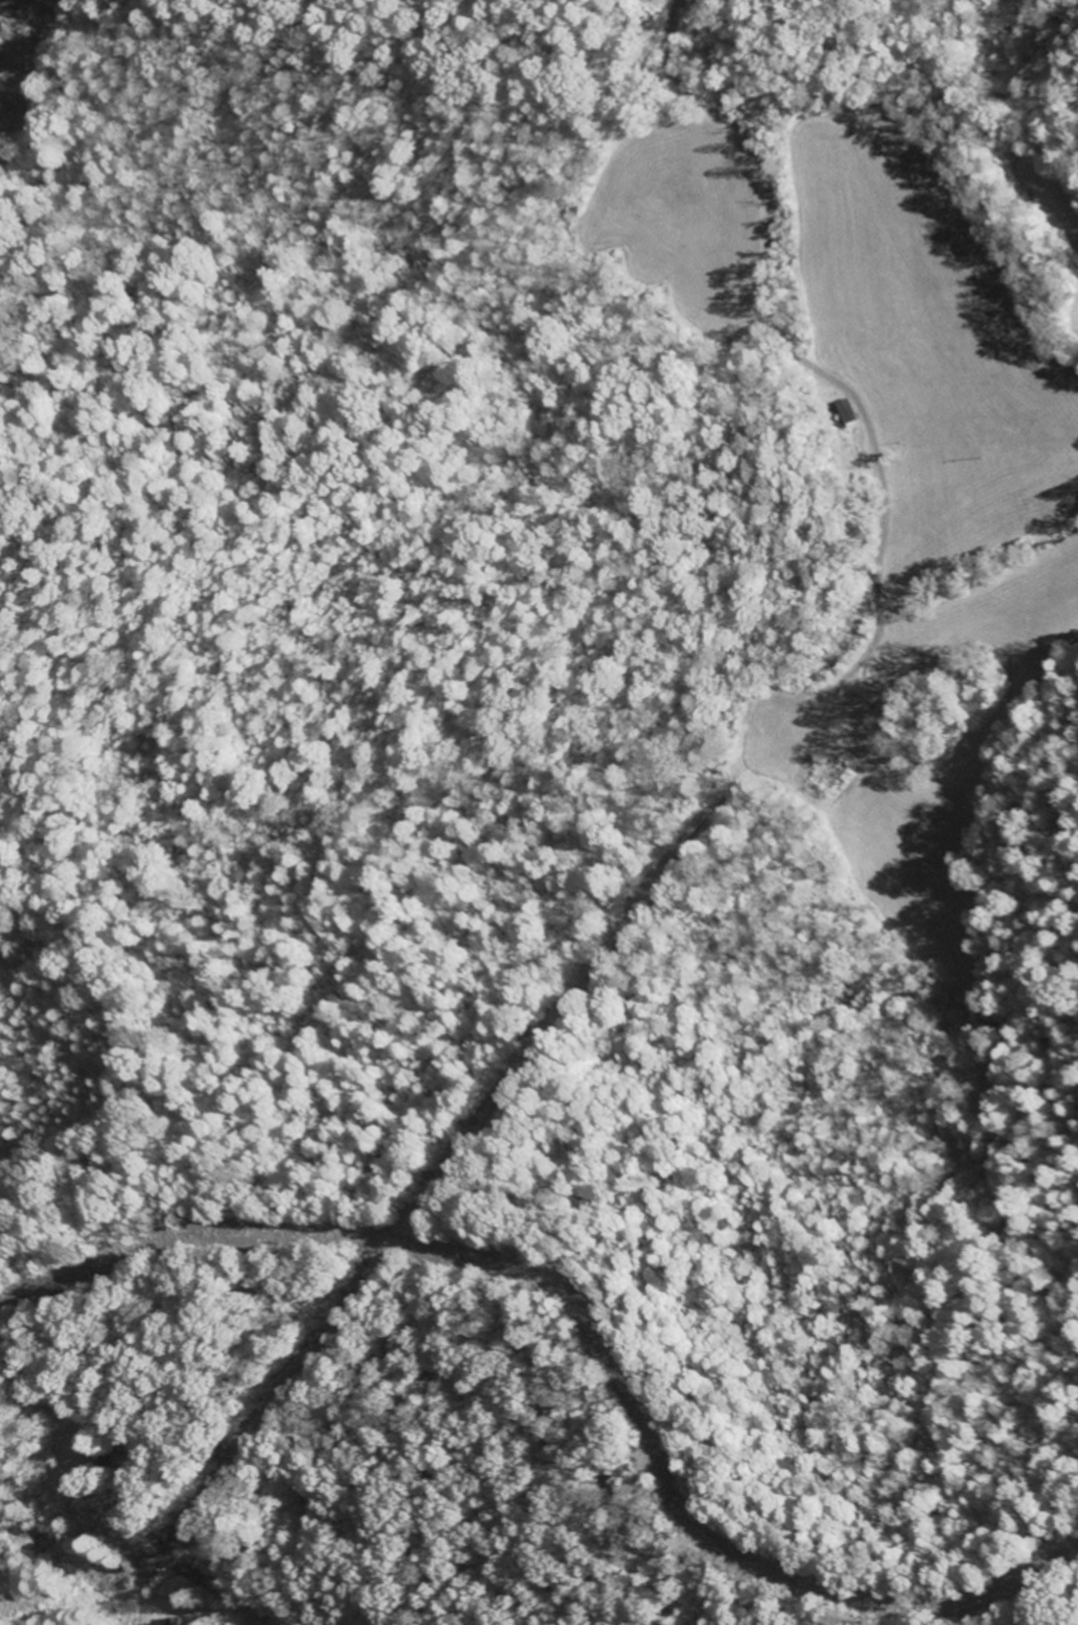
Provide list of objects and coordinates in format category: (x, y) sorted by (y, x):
road: (890, 82)
road: (819, 374)
road: (226, 1459)

